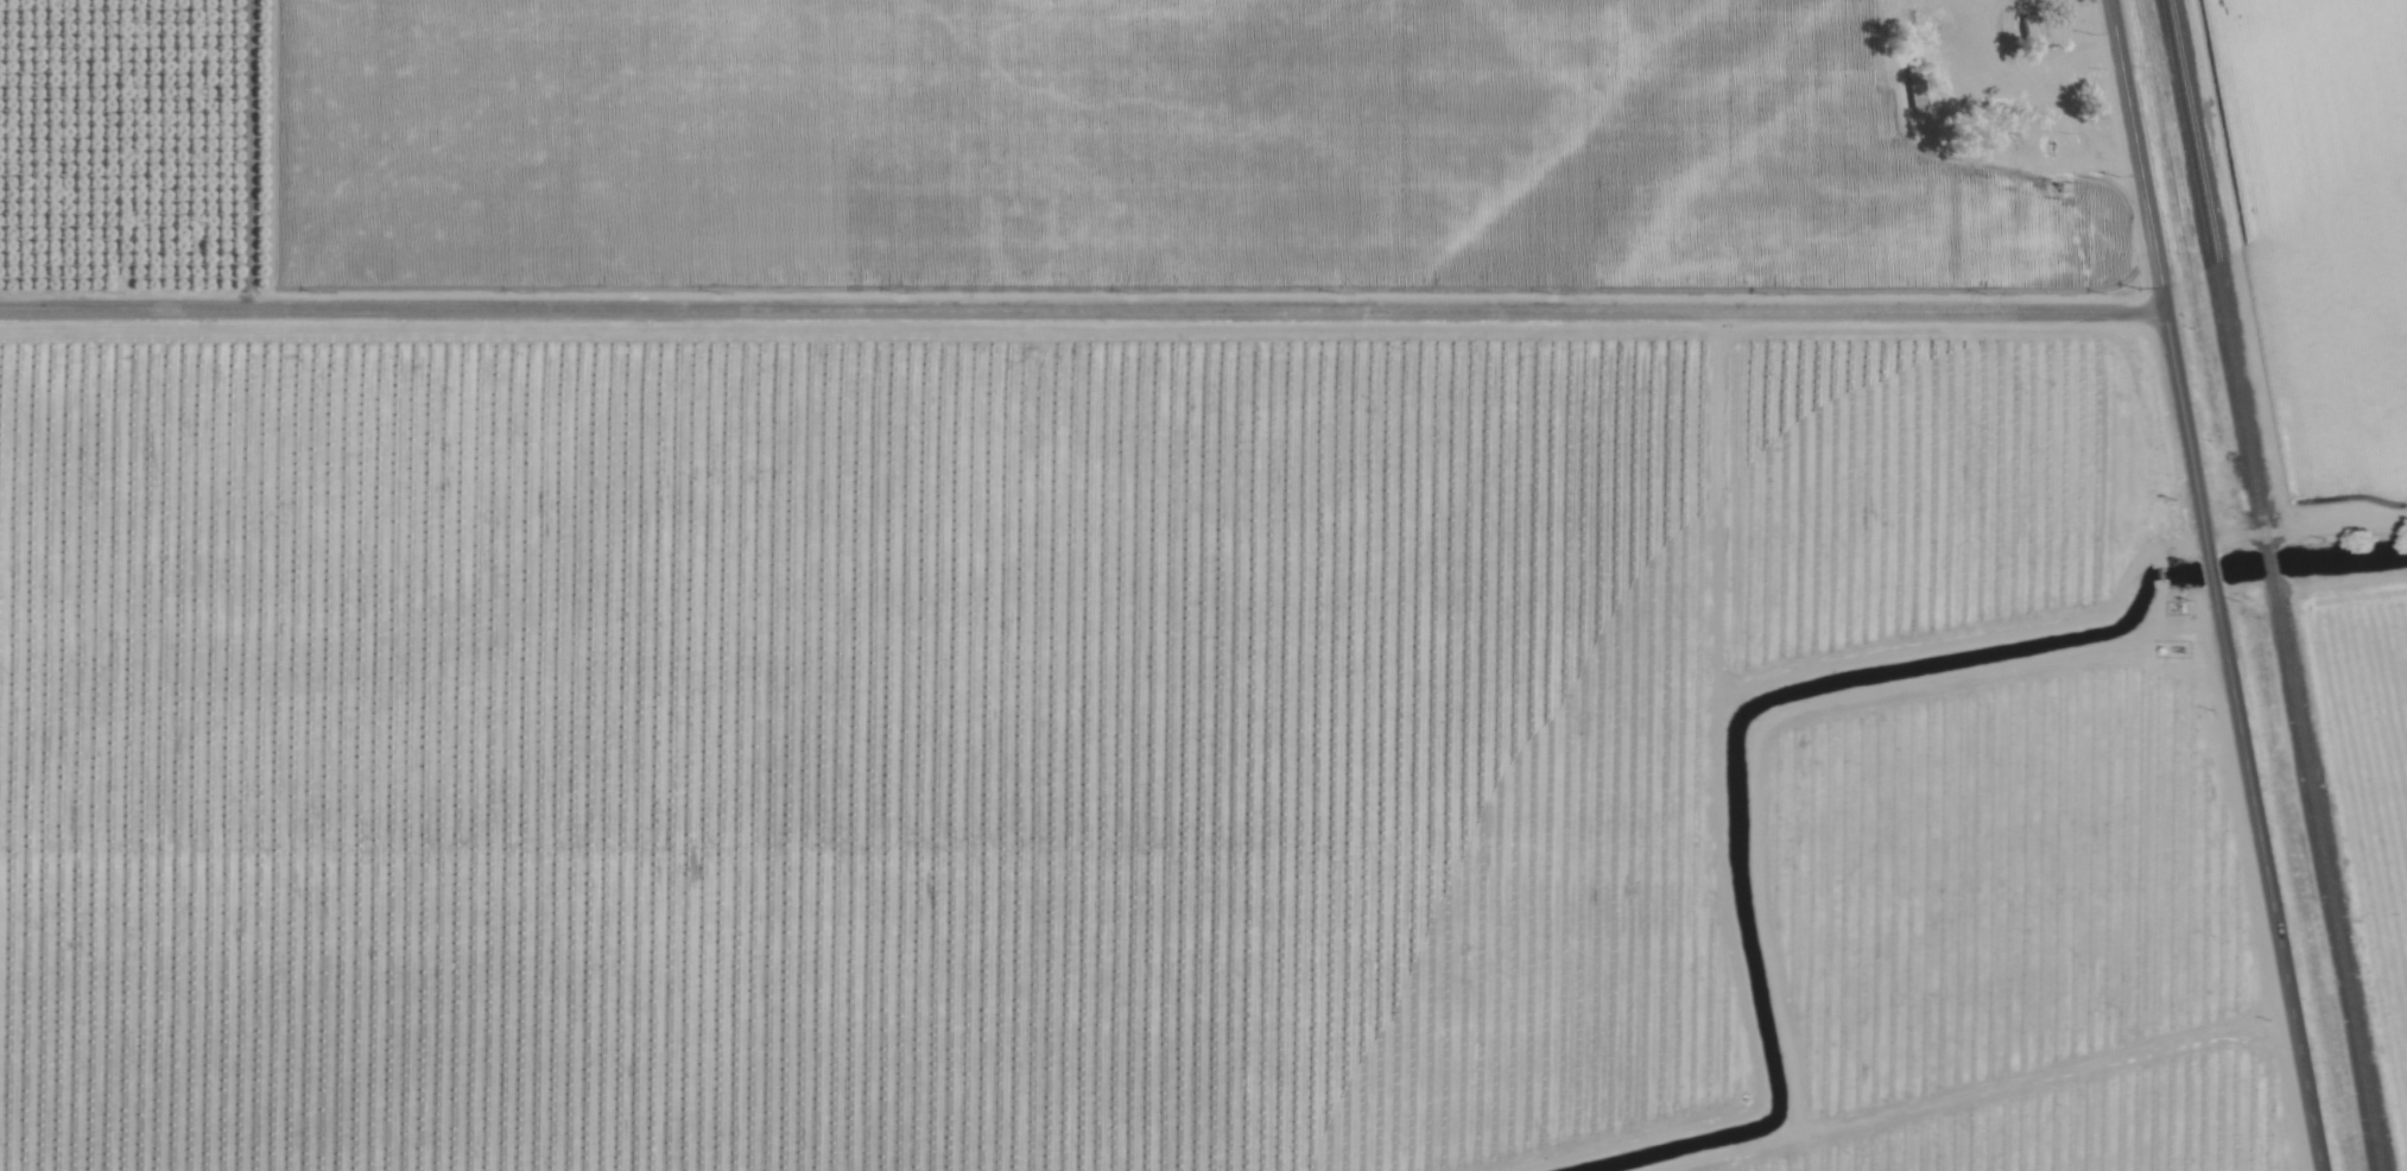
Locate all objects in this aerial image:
railway: (2215, 270)
road: (2156, 278)
road: (1082, 312)
railway: (2267, 558)
road: (2209, 574)
railway: (2324, 873)
road: (2266, 880)

